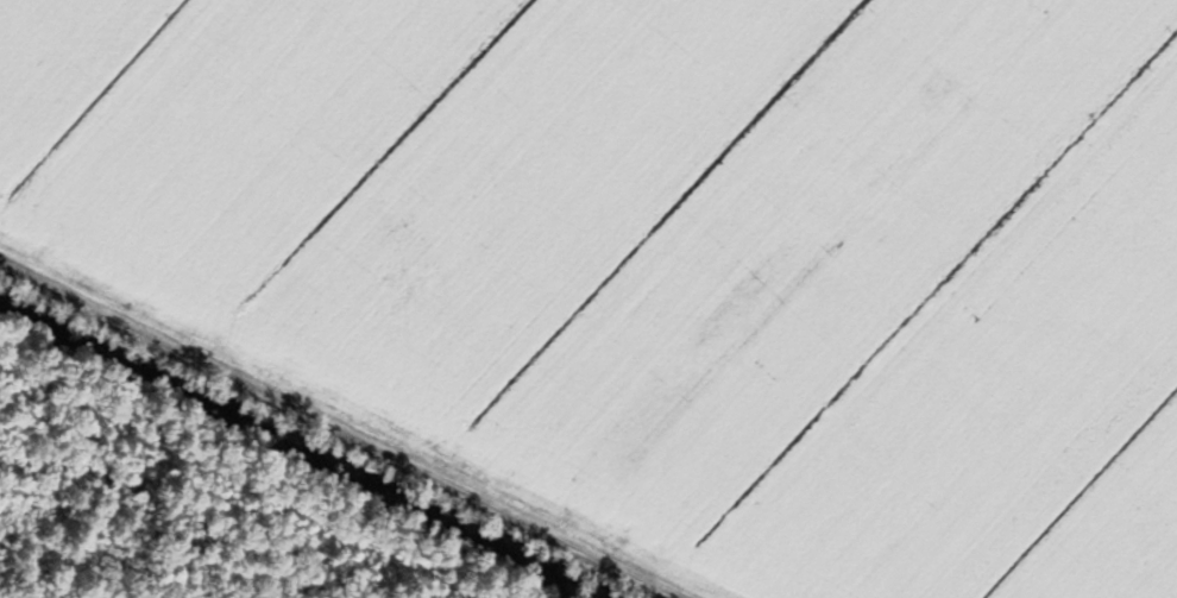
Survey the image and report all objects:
crop: (672, 254)
road: (336, 432)

